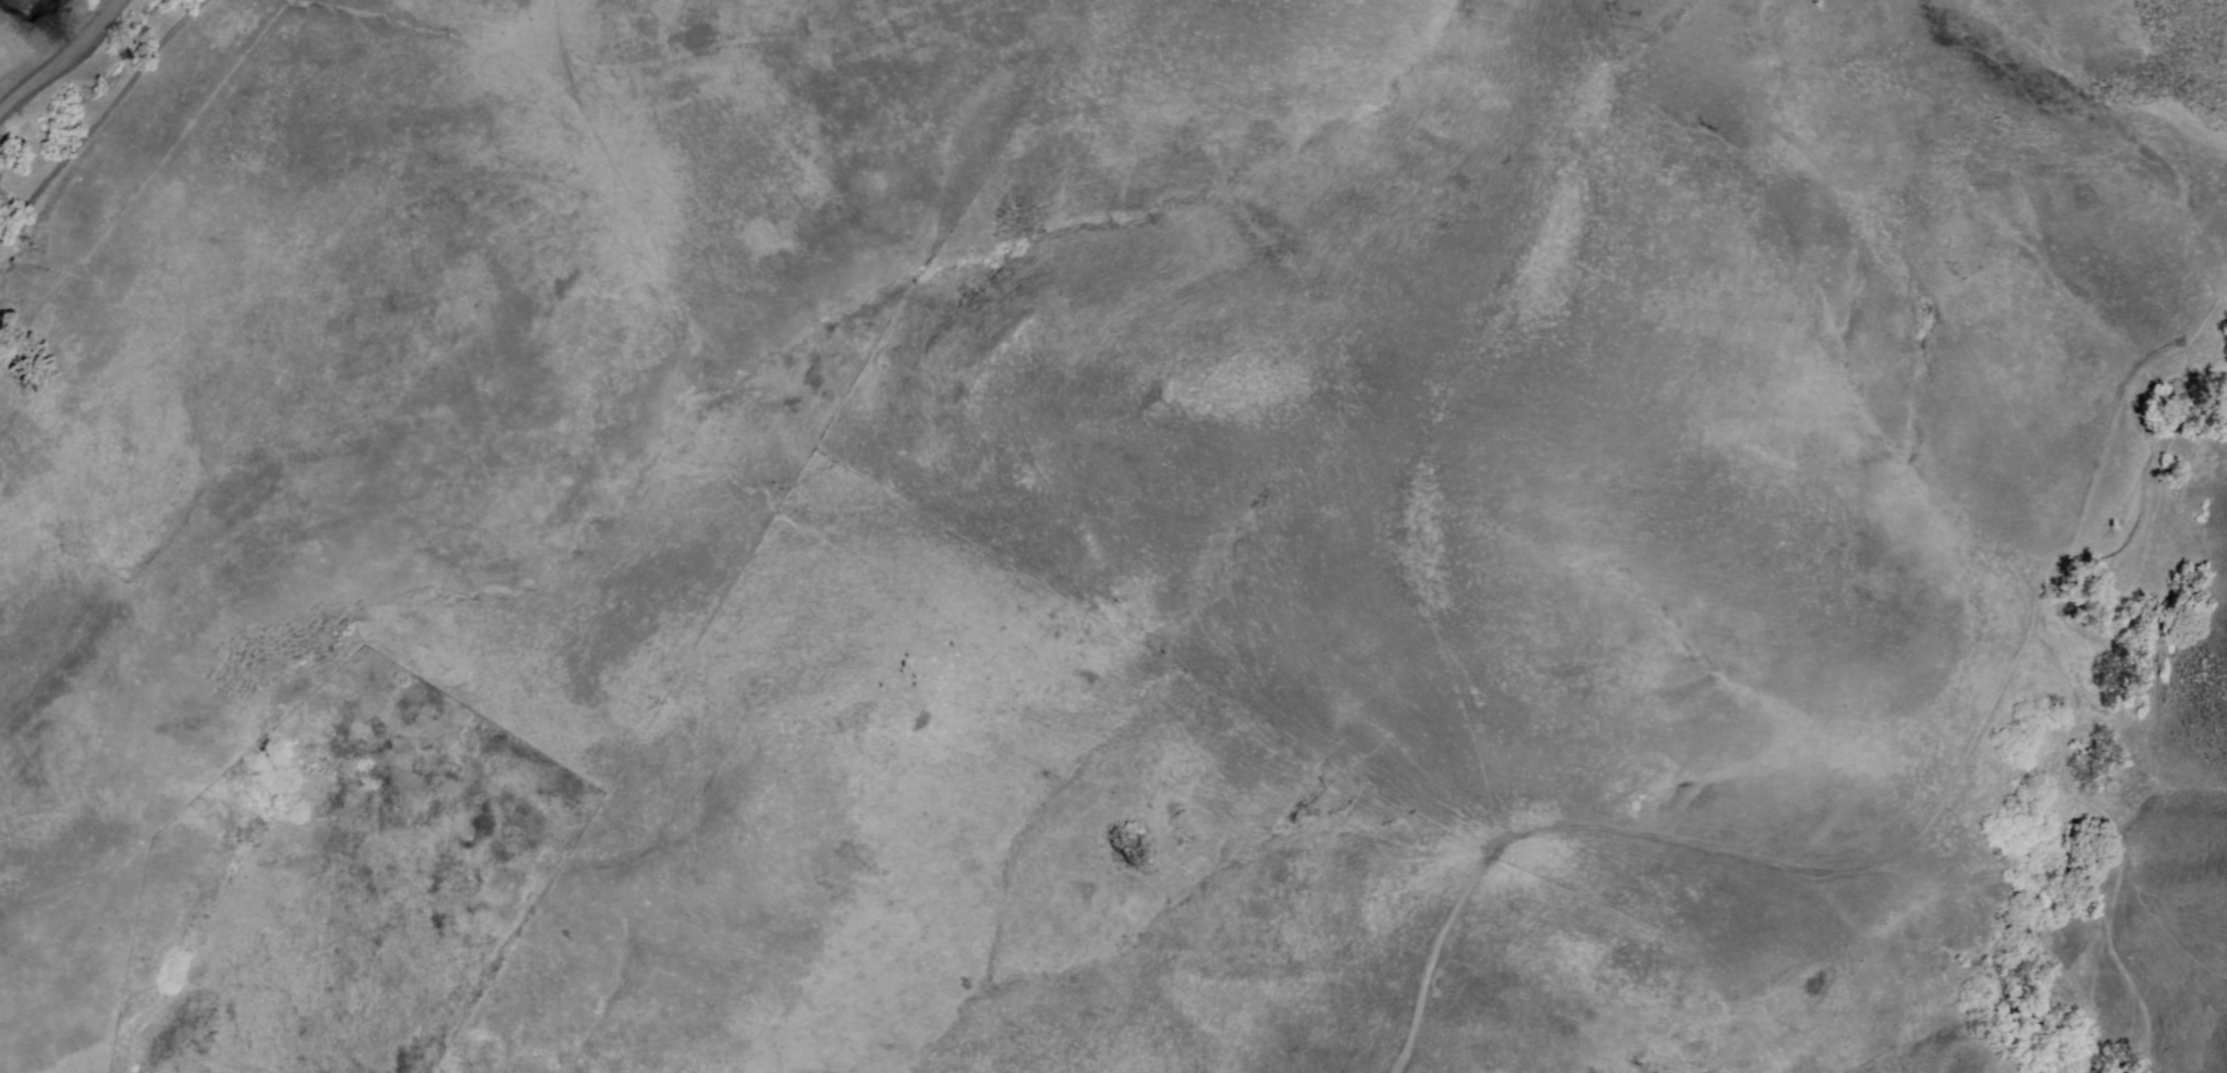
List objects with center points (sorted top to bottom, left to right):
quarry: (44, 12)
road: (63, 61)
road: (101, 120)
road: (2121, 843)
road: (1900, 852)

